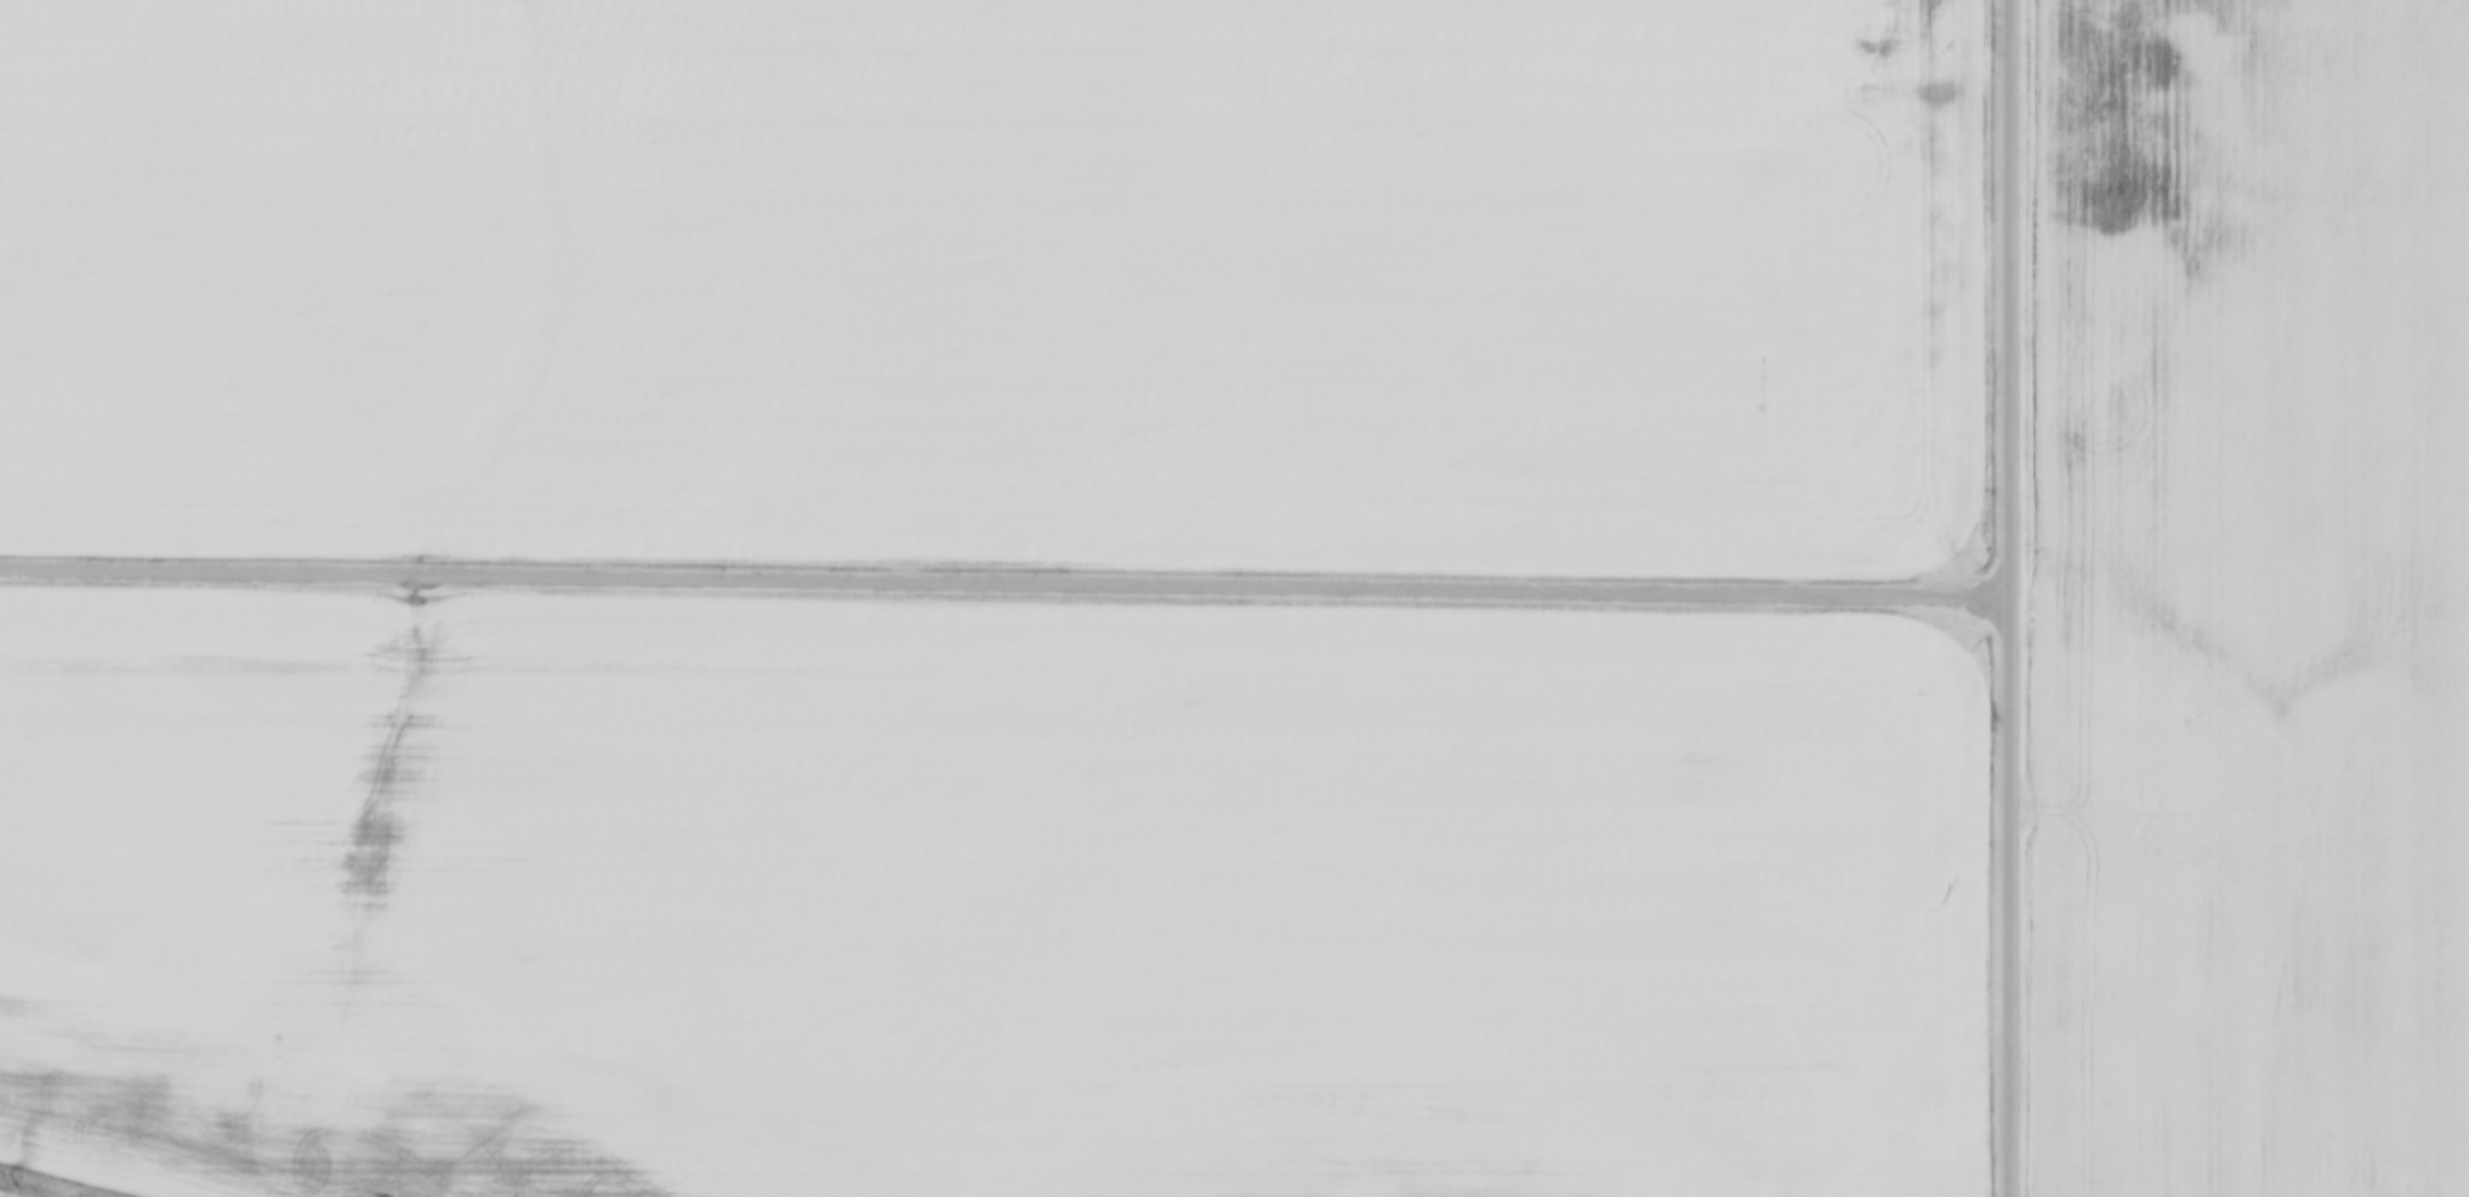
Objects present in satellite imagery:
road: (1006, 583)
road: (2014, 598)

